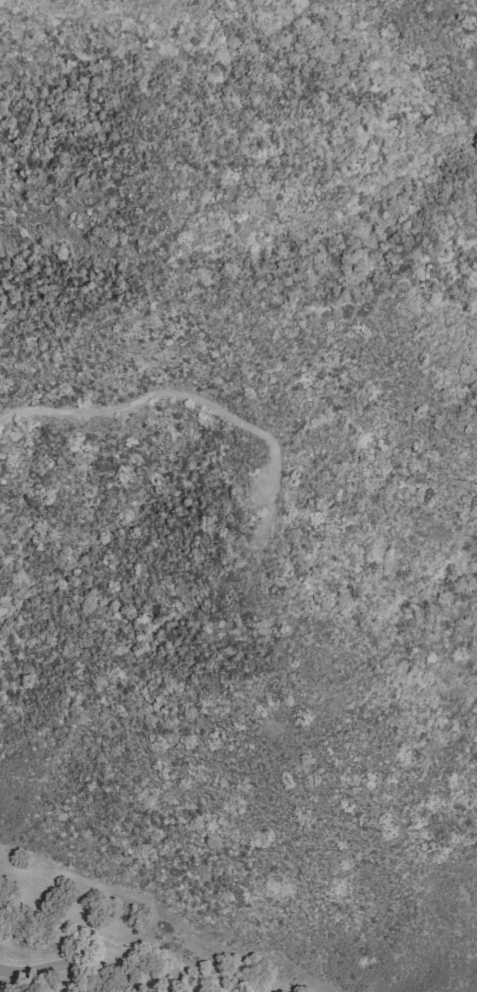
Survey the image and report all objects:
road: (162, 24)
road: (181, 391)
power tower: (248, 542)
road: (75, 967)

